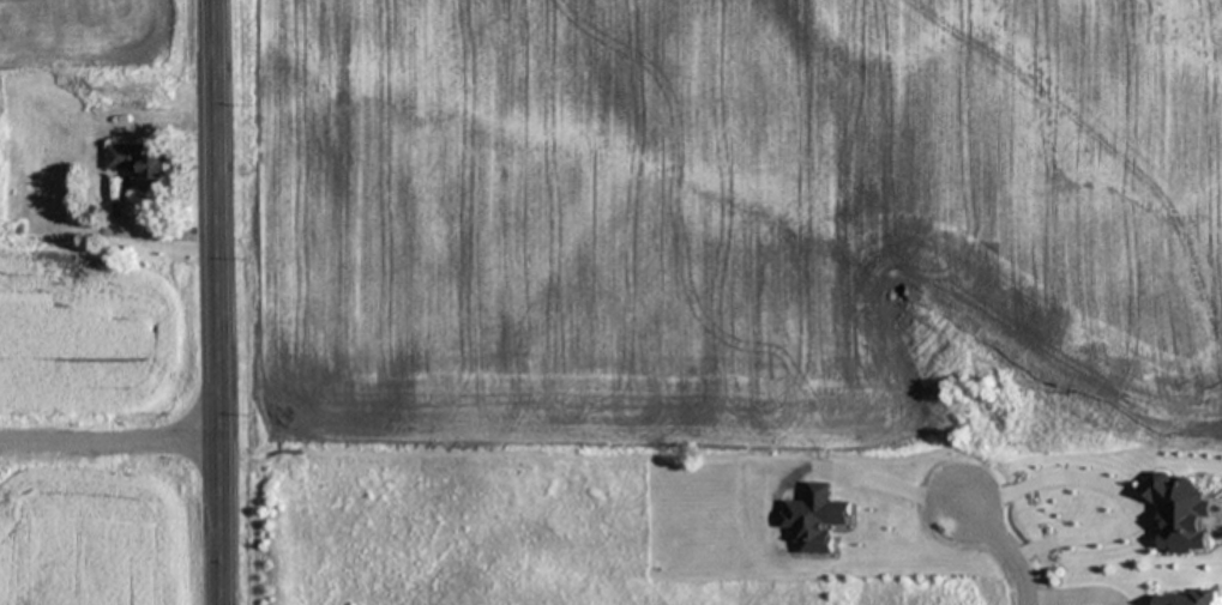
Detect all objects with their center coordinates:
crop: (114, 35)
building: (55, 125)
building: (140, 163)
building: (98, 192)
crop: (726, 222)
road: (218, 302)
crop: (115, 424)
road: (108, 434)
road: (1005, 546)
building: (1186, 598)

